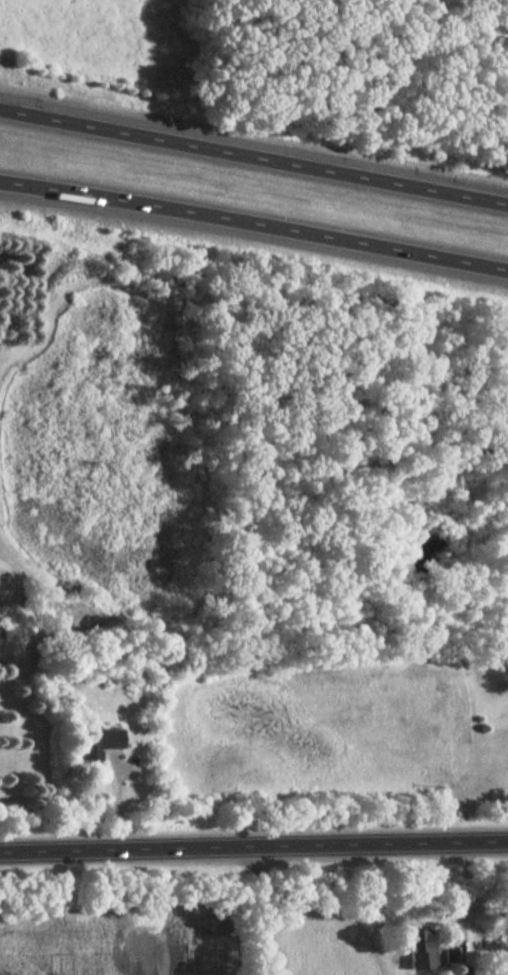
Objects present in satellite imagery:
road: (253, 157)
road: (254, 218)
building: (93, 743)
road: (253, 843)
road: (467, 895)
road: (261, 908)
crop: (115, 942)
building: (414, 948)

